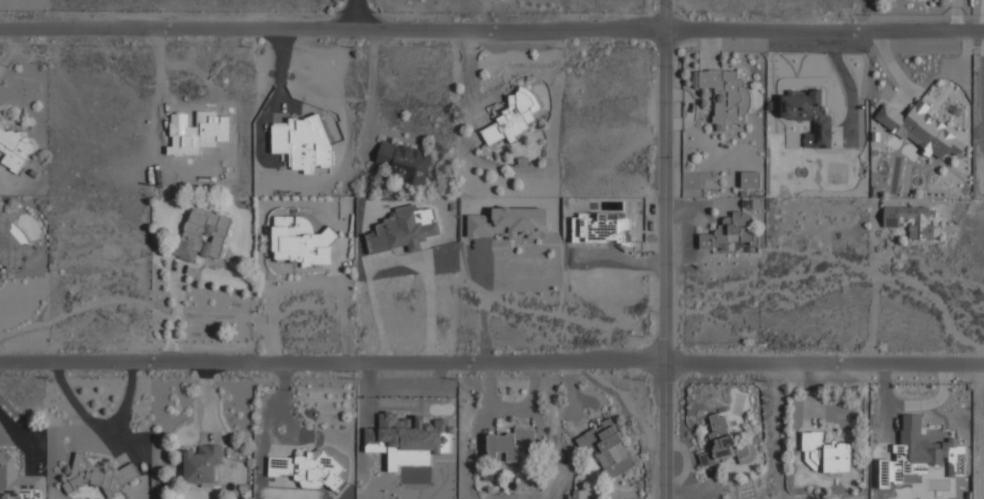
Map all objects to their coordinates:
road: (362, 10)
road: (492, 20)
road: (369, 88)
building: (725, 96)
building: (808, 113)
building: (514, 116)
building: (919, 128)
building: (14, 149)
building: (404, 163)
building: (750, 179)
building: (911, 221)
building: (509, 223)
building: (404, 229)
building: (732, 231)
building: (202, 234)
building: (301, 241)
building: (13, 246)
road: (672, 249)
road: (876, 291)
road: (492, 351)
building: (407, 439)
building: (724, 442)
building: (508, 444)
building: (606, 447)
building: (826, 453)
building: (908, 453)
building: (956, 457)
building: (200, 463)
building: (307, 470)
building: (99, 476)
building: (490, 479)
building: (18, 481)
building: (578, 494)

